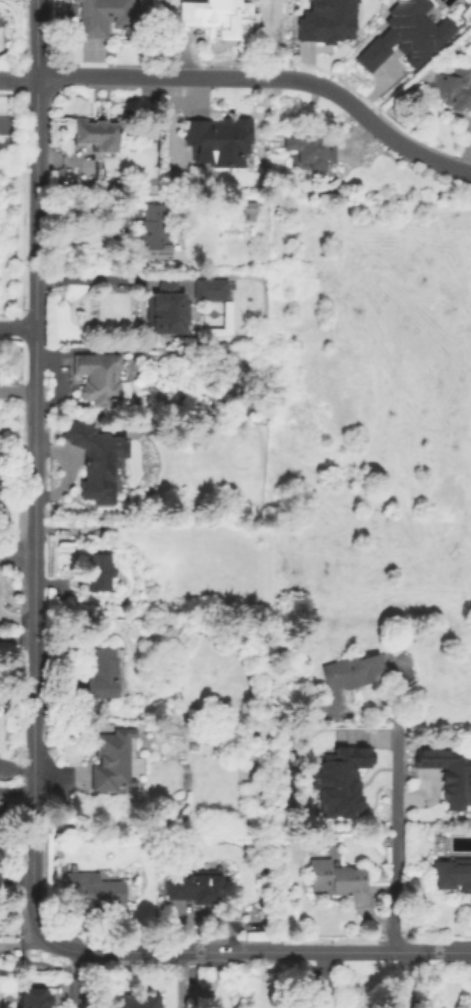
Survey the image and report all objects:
building: (108, 16)
building: (214, 16)
building: (328, 22)
building: (404, 34)
road: (34, 38)
road: (176, 76)
road: (17, 77)
building: (455, 89)
road: (344, 98)
building: (96, 134)
building: (218, 141)
building: (309, 147)
road: (416, 149)
road: (33, 202)
building: (155, 233)
road: (92, 282)
building: (213, 290)
building: (167, 311)
road: (16, 327)
building: (99, 378)
road: (16, 391)
building: (99, 459)
building: (81, 502)
road: (16, 556)
building: (97, 572)
road: (16, 636)
building: (353, 672)
building: (103, 676)
road: (376, 738)
building: (111, 762)
building: (450, 775)
building: (331, 782)
road: (15, 790)
road: (419, 798)
road: (392, 803)
road: (32, 850)
building: (452, 874)
building: (335, 878)
building: (198, 889)
building: (94, 890)
road: (368, 919)
road: (20, 942)
road: (76, 979)
road: (397, 979)
building: (31, 998)
building: (134, 1001)

